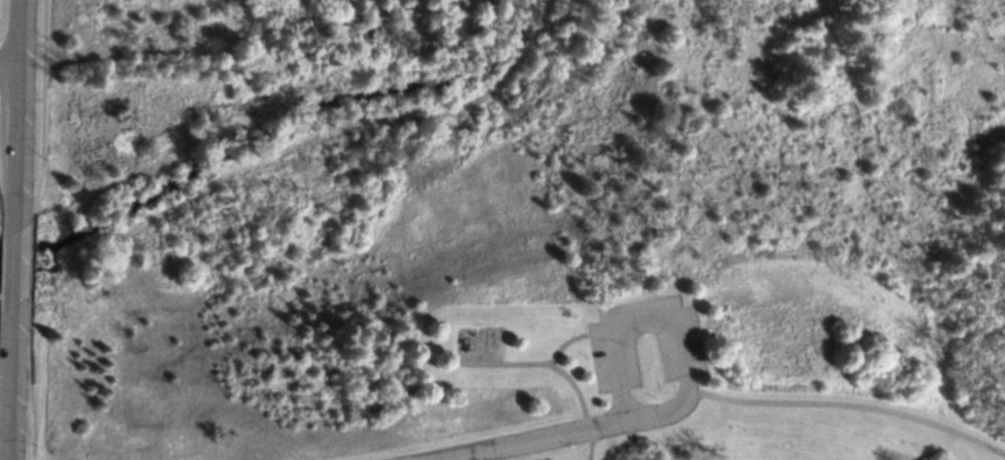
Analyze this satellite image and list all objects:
road: (10, 72)
road: (19, 113)
park: (516, 230)
road: (16, 266)
road: (630, 316)
road: (575, 337)
parking lot: (645, 342)
road: (556, 368)
road: (12, 382)
road: (849, 407)
road: (573, 434)

